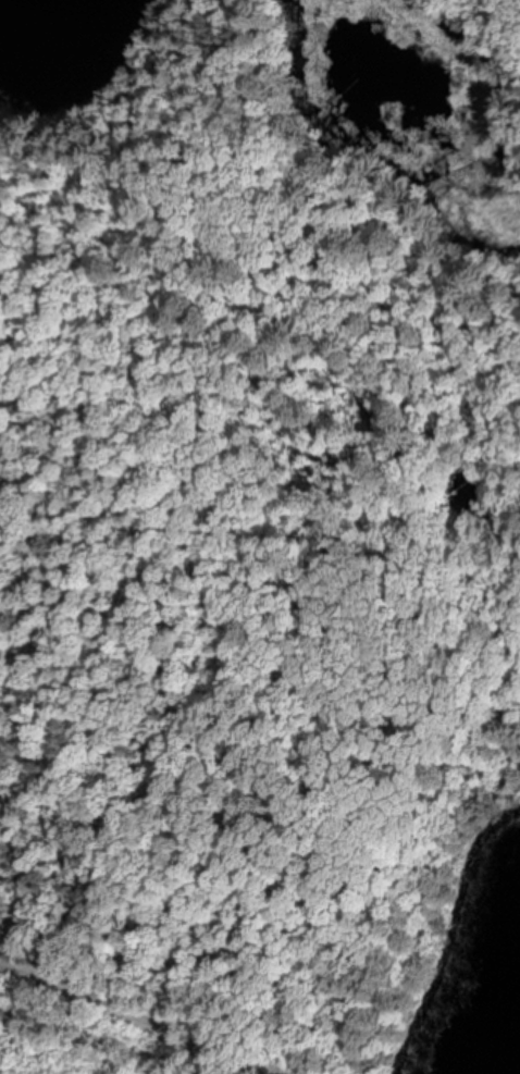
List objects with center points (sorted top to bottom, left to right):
road: (145, 1011)

